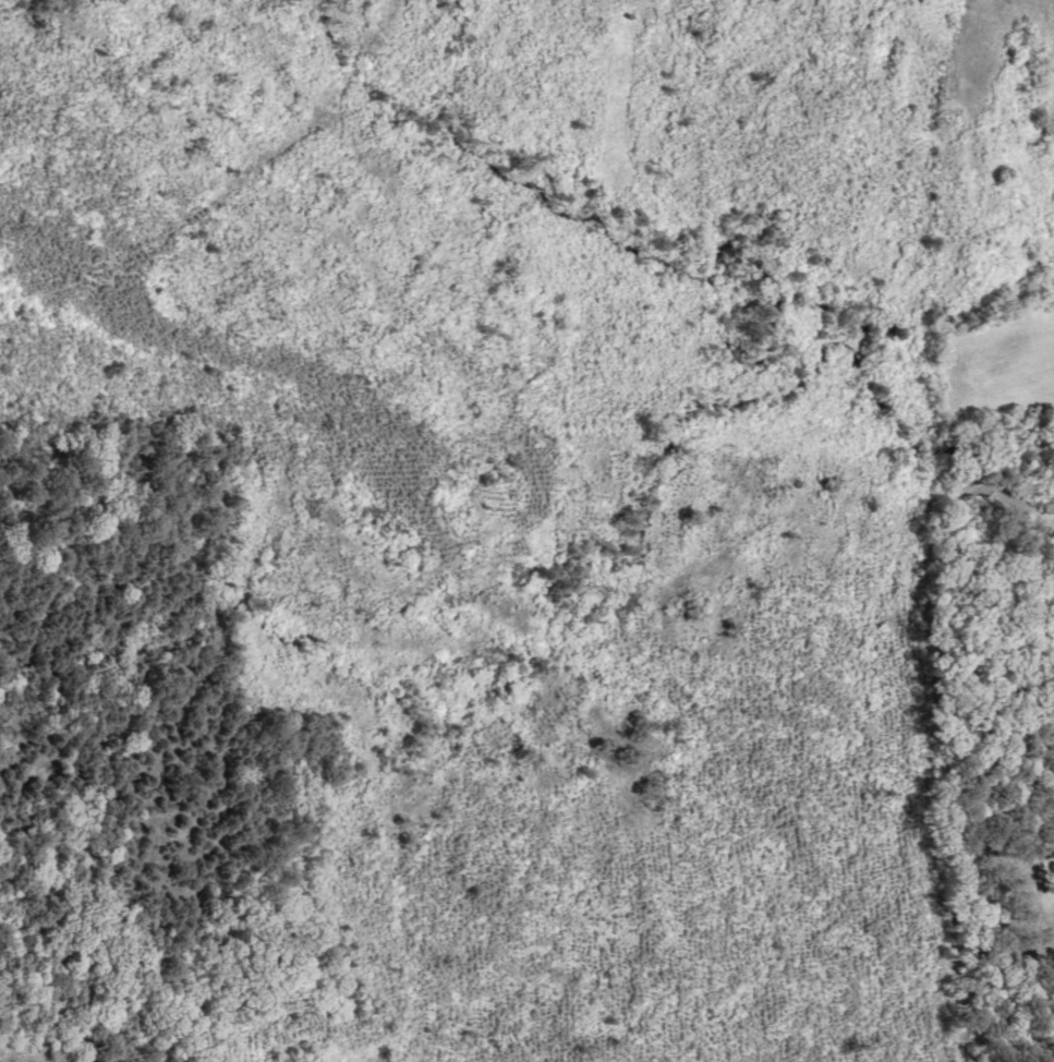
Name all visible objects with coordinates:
road: (967, 1031)

